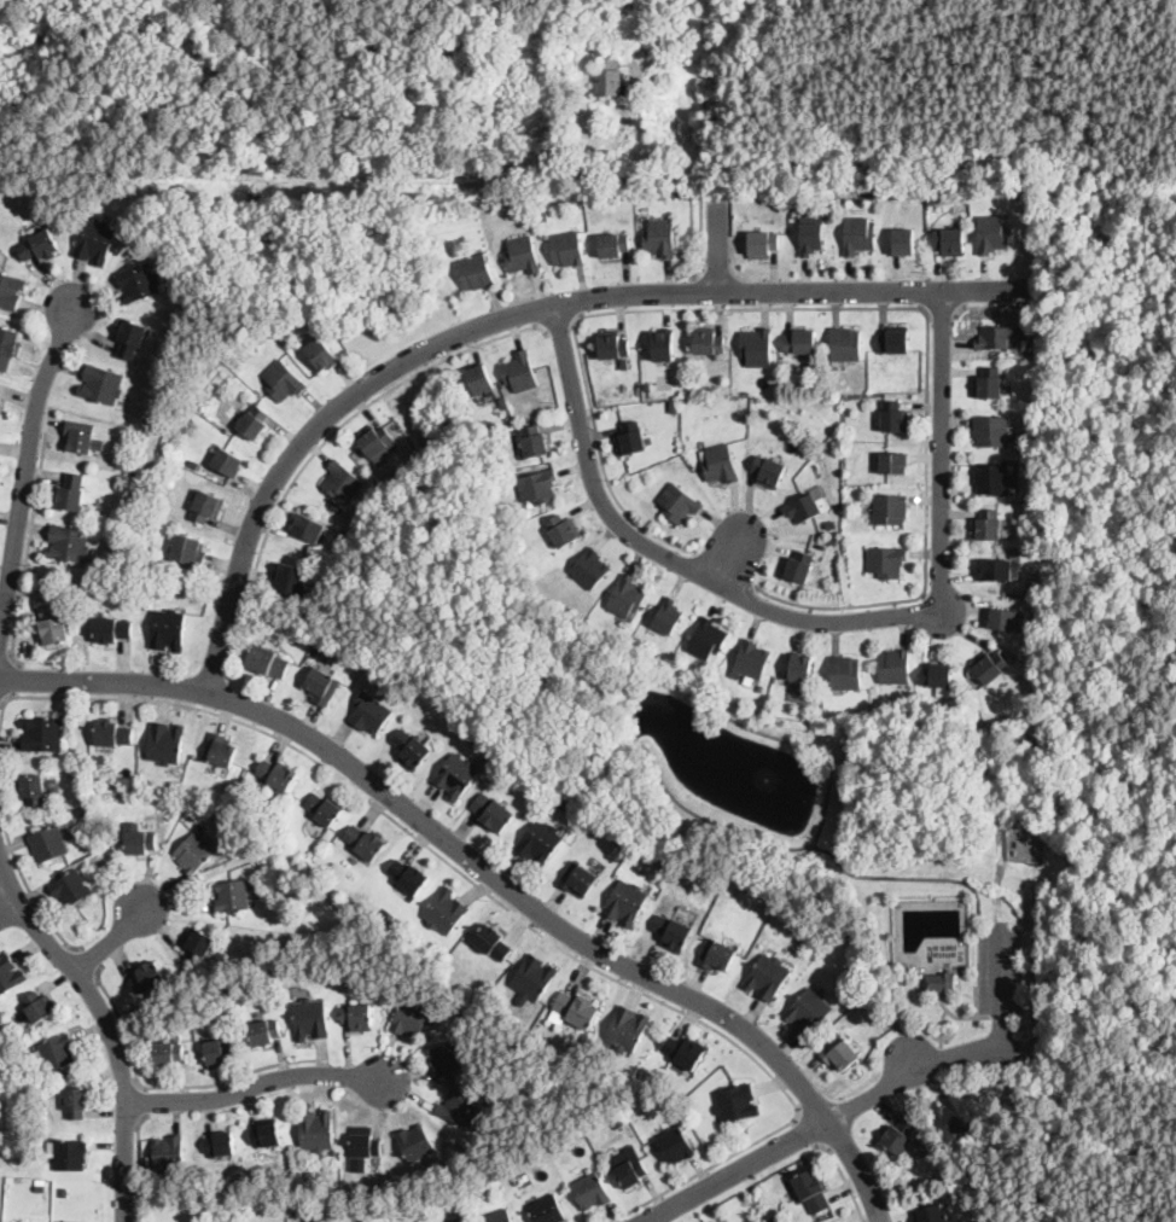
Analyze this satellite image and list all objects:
building: (609, 78)
building: (660, 82)
building: (872, 192)
building: (689, 197)
building: (892, 197)
building: (784, 208)
building: (797, 209)
building: (542, 216)
building: (991, 234)
building: (857, 235)
building: (660, 238)
building: (811, 239)
building: (95, 242)
road: (701, 242)
building: (949, 242)
building: (903, 243)
building: (762, 244)
building: (39, 245)
building: (615, 245)
road: (720, 245)
building: (567, 249)
building: (523, 255)
building: (477, 272)
building: (139, 283)
building: (11, 291)
road: (698, 291)
road: (976, 307)
road: (941, 313)
road: (514, 316)
road: (561, 328)
building: (130, 337)
building: (895, 337)
building: (997, 338)
building: (801, 341)
building: (709, 342)
building: (845, 343)
building: (663, 345)
building: (7, 347)
building: (613, 347)
building: (757, 347)
building: (322, 355)
building: (711, 356)
building: (625, 365)
road: (927, 366)
building: (520, 373)
building: (481, 379)
building: (284, 382)
building: (0, 383)
building: (991, 383)
building: (103, 385)
building: (646, 386)
building: (850, 386)
building: (636, 388)
building: (502, 401)
building: (674, 407)
building: (0, 408)
building: (895, 415)
building: (255, 423)
building: (991, 430)
building: (82, 437)
building: (631, 440)
road: (327, 441)
building: (535, 442)
building: (378, 443)
road: (943, 454)
road: (600, 458)
building: (893, 461)
building: (228, 462)
building: (718, 462)
building: (194, 465)
building: (1030, 466)
building: (769, 471)
road: (25, 477)
building: (991, 477)
building: (343, 483)
building: (540, 487)
building: (72, 493)
building: (679, 502)
building: (208, 506)
building: (890, 507)
building: (807, 508)
building: (833, 523)
building: (989, 523)
building: (308, 528)
building: (564, 531)
road: (30, 539)
building: (834, 539)
building: (69, 543)
building: (1034, 545)
building: (190, 551)
building: (1014, 552)
road: (669, 557)
road: (733, 559)
building: (886, 560)
building: (799, 568)
building: (590, 569)
road: (728, 570)
building: (995, 570)
building: (291, 580)
building: (1032, 584)
building: (628, 599)
building: (1047, 600)
building: (669, 617)
building: (1003, 619)
building: (52, 625)
building: (112, 630)
building: (169, 630)
building: (706, 639)
building: (751, 659)
building: (268, 662)
building: (893, 667)
building: (801, 668)
building: (991, 668)
building: (845, 673)
building: (936, 676)
road: (14, 680)
building: (322, 687)
building: (759, 687)
road: (221, 694)
road: (2, 705)
building: (935, 705)
building: (371, 714)
building: (43, 734)
building: (113, 734)
building: (165, 744)
building: (414, 750)
building: (220, 751)
building: (279, 775)
building: (456, 775)
building: (149, 781)
building: (112, 785)
building: (33, 790)
building: (198, 797)
building: (83, 802)
building: (326, 809)
building: (91, 810)
building: (188, 813)
building: (493, 813)
building: (266, 824)
building: (139, 839)
building: (366, 843)
building: (540, 843)
building: (50, 844)
building: (194, 853)
road: (487, 871)
building: (411, 878)
building: (578, 879)
road: (25, 880)
building: (71, 889)
road: (7, 896)
building: (232, 897)
road: (495, 900)
building: (627, 903)
building: (446, 912)
building: (674, 932)
road: (111, 939)
building: (494, 944)
building: (198, 945)
building: (715, 955)
road: (88, 961)
parking lot: (1000, 970)
building: (338, 971)
building: (8, 972)
road: (1000, 974)
building: (150, 977)
building: (767, 977)
building: (534, 978)
building: (938, 983)
building: (248, 985)
building: (39, 1006)
building: (578, 1009)
building: (808, 1011)
building: (878, 1011)
building: (359, 1017)
building: (412, 1019)
building: (312, 1020)
road: (107, 1024)
building: (628, 1029)
road: (1001, 1031)
building: (264, 1032)
road: (967, 1048)
building: (56, 1052)
building: (687, 1052)
building: (219, 1053)
building: (840, 1053)
building: (168, 1054)
building: (448, 1059)
road: (173, 1087)
road: (255, 1087)
road: (875, 1092)
road: (140, 1101)
building: (78, 1102)
building: (735, 1104)
building: (459, 1107)
building: (485, 1110)
building: (951, 1117)
building: (617, 1121)
building: (316, 1130)
road: (808, 1131)
building: (900, 1134)
building: (268, 1135)
building: (920, 1135)
building: (415, 1144)
building: (221, 1145)
building: (367, 1146)
building: (675, 1146)
building: (169, 1153)
building: (69, 1154)
road: (138, 1165)
road: (738, 1169)
building: (633, 1174)
road: (845, 1177)
building: (810, 1191)
building: (592, 1192)
building: (64, 1193)
building: (385, 1210)
building: (549, 1210)
building: (933, 1214)
building: (500, 1216)
building: (69, 1221)
road: (618, 1221)
building: (712, 1221)
building: (774, 1221)

